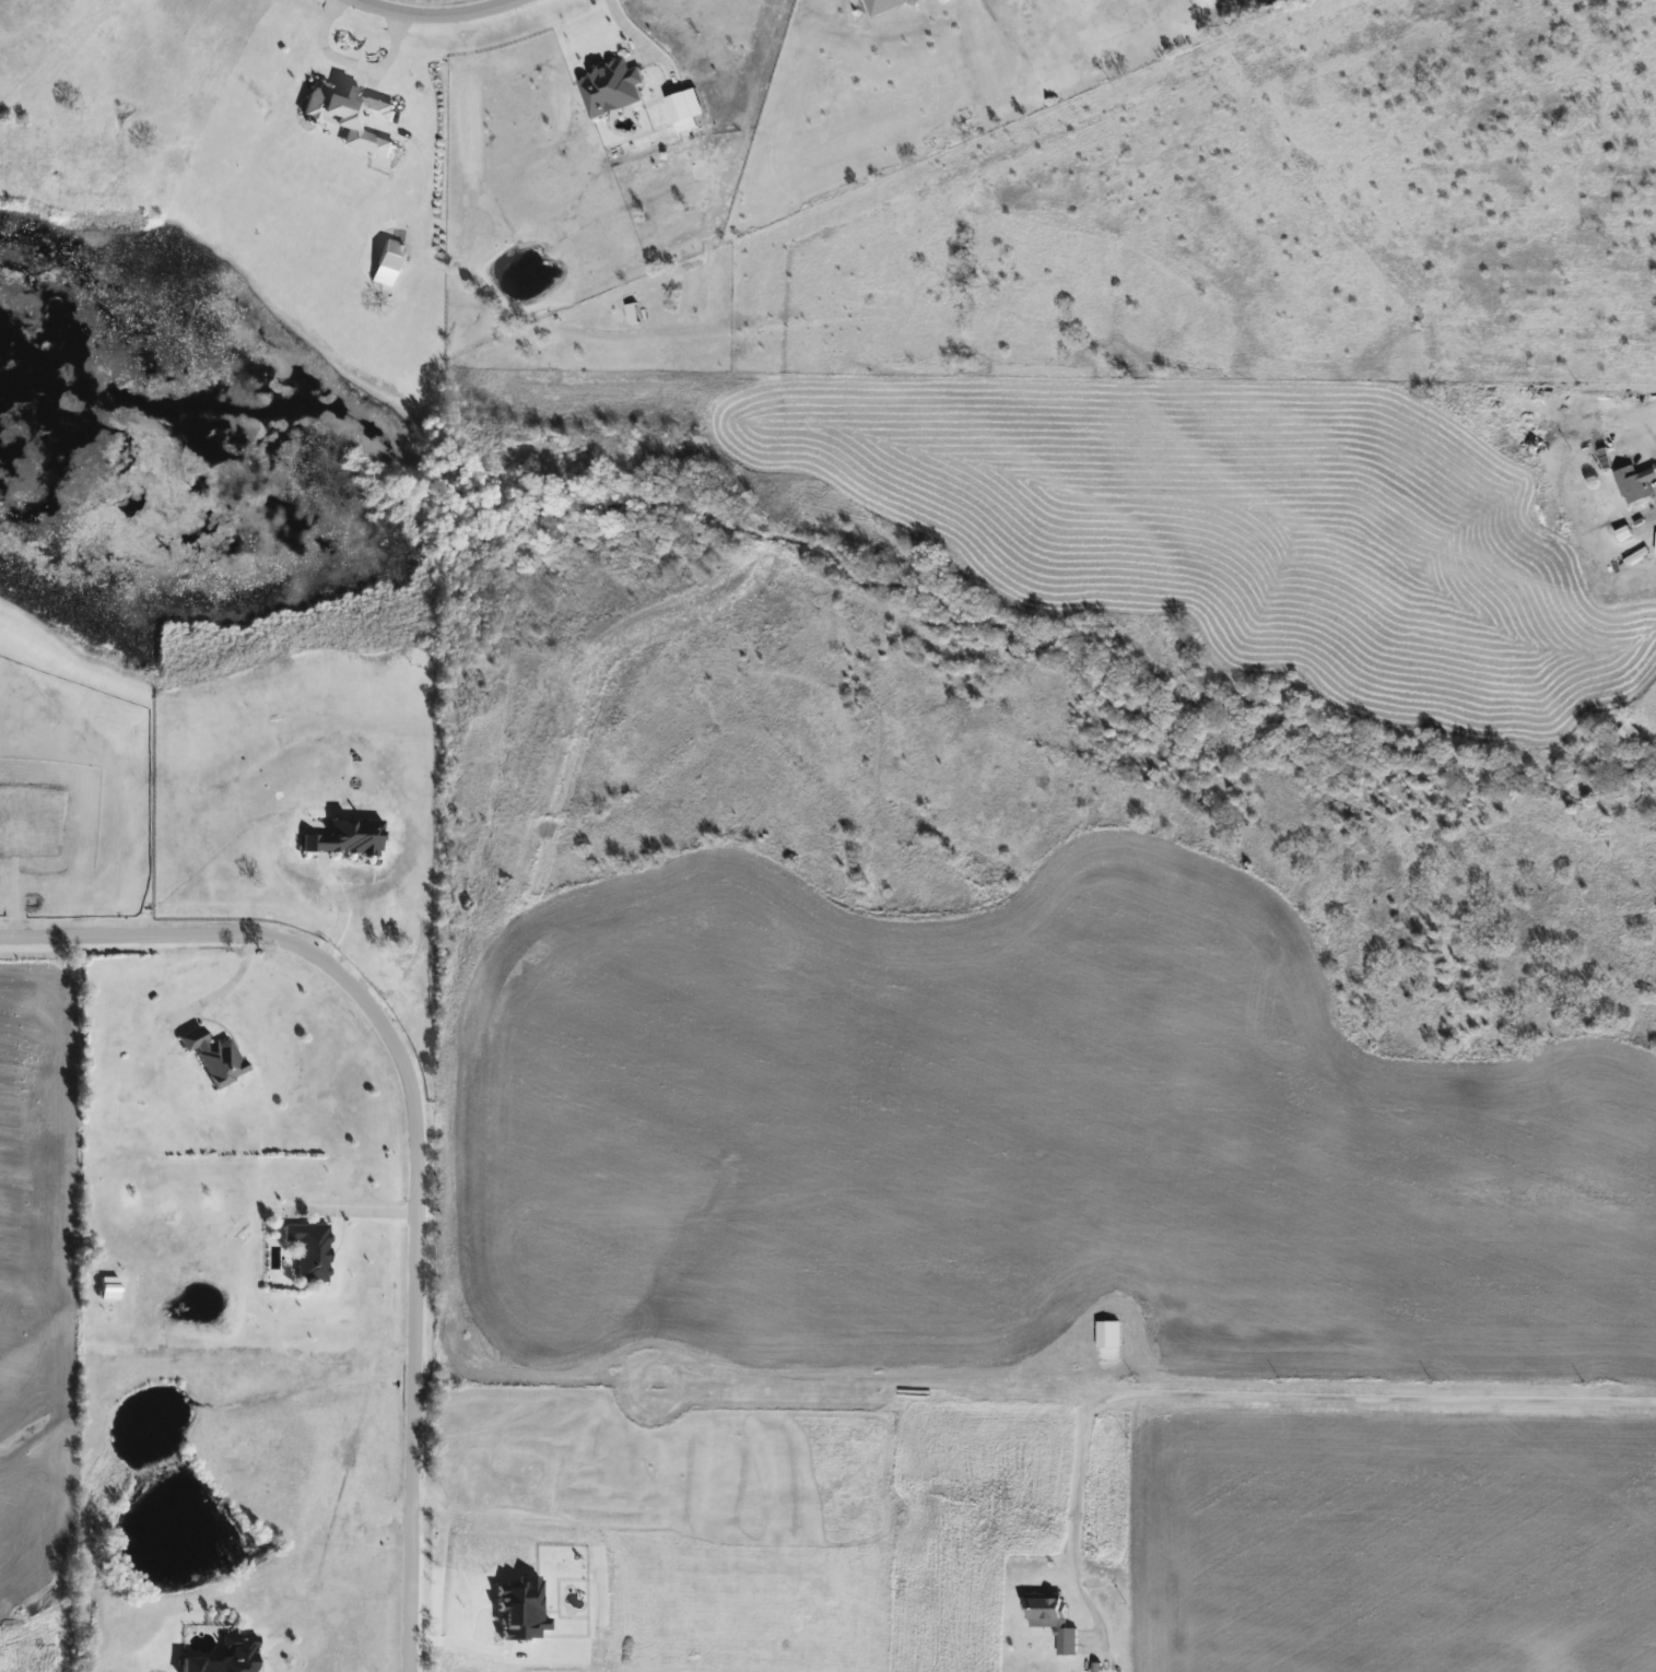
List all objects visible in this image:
building: (884, 4)
road: (436, 19)
road: (636, 38)
road: (347, 59)
building: (351, 114)
road: (1651, 434)
building: (1635, 482)
road: (228, 978)
building: (213, 1055)
road: (415, 1130)
road: (352, 1212)
building: (308, 1250)
road: (1151, 1393)
road: (1076, 1504)
building: (1052, 1618)
building: (225, 1657)

